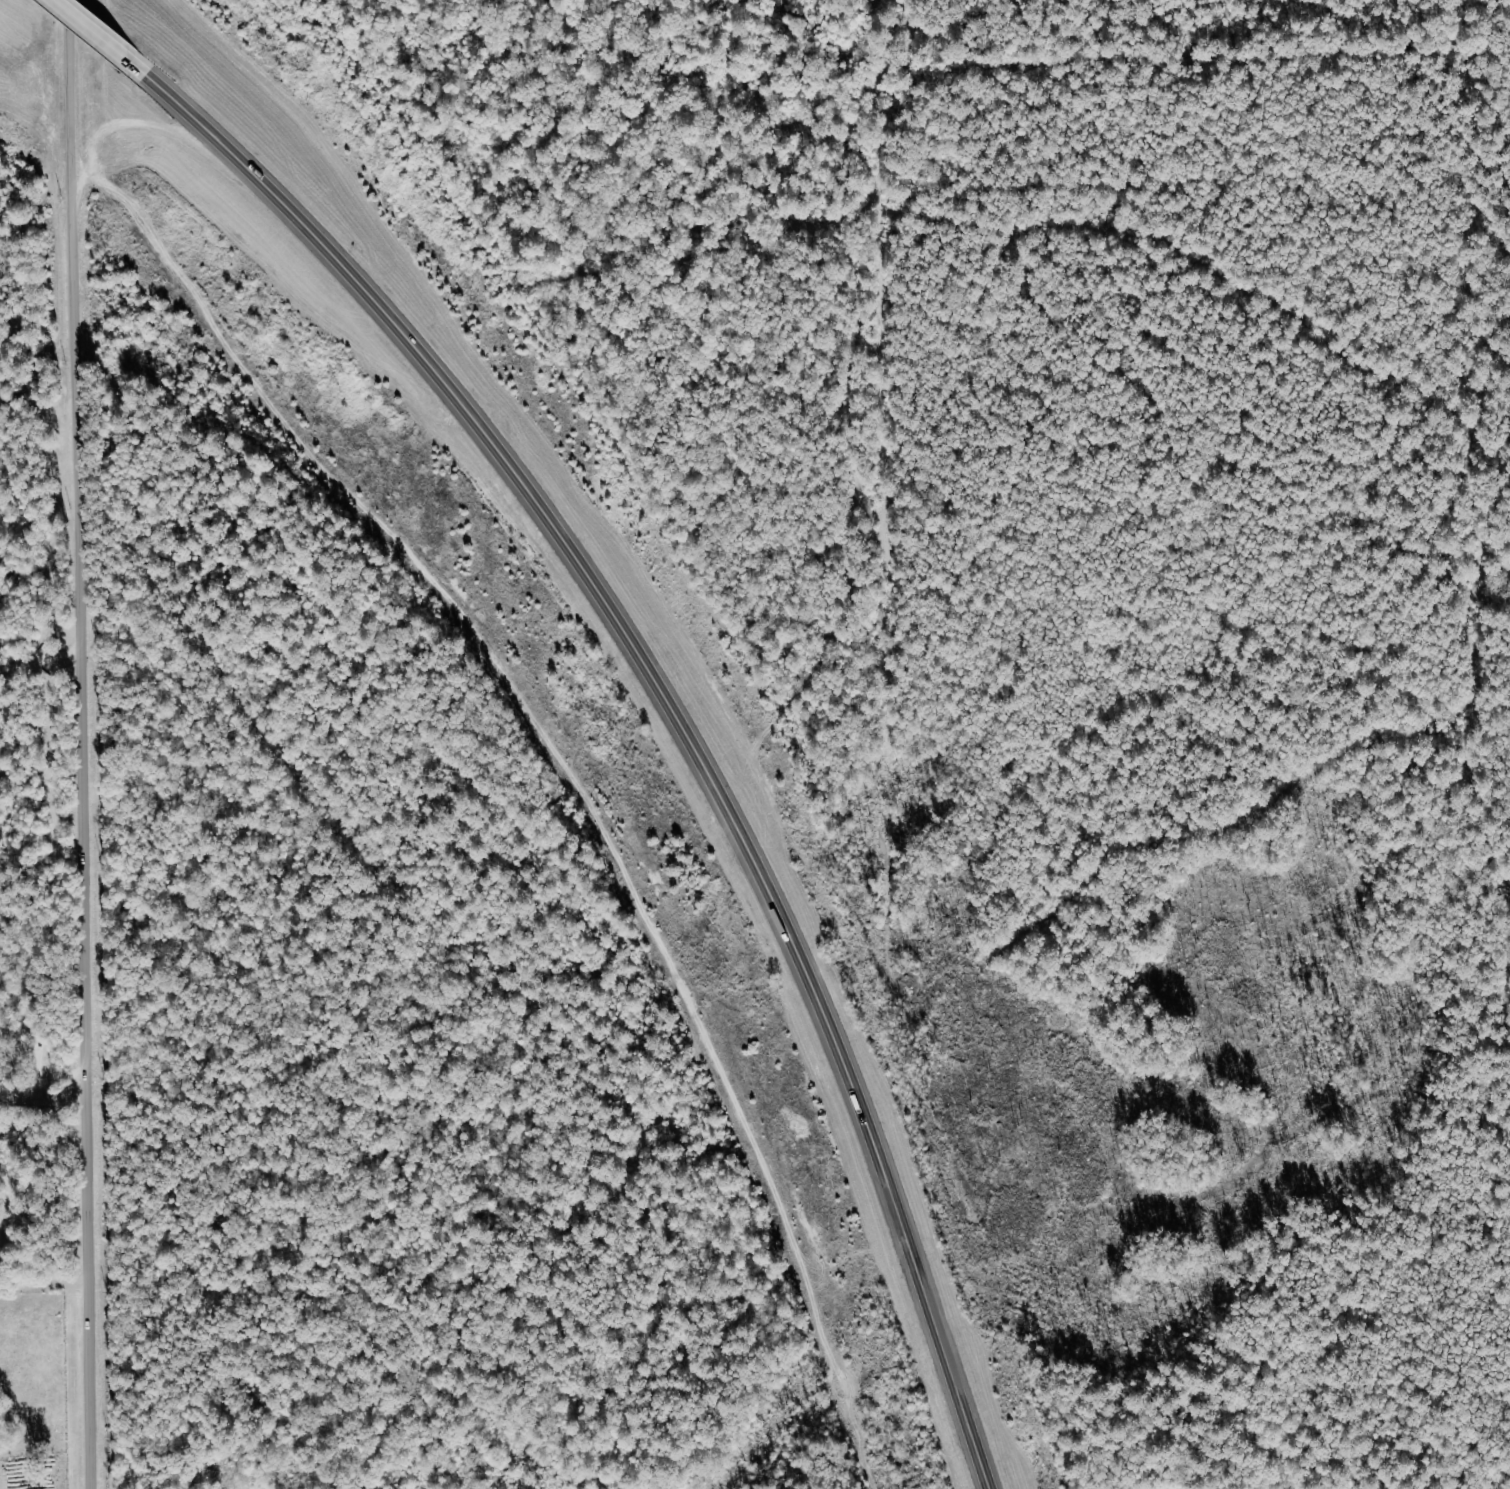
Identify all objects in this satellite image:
road: (90, 29)
road: (670, 704)
road: (84, 744)
road: (45, 1083)

